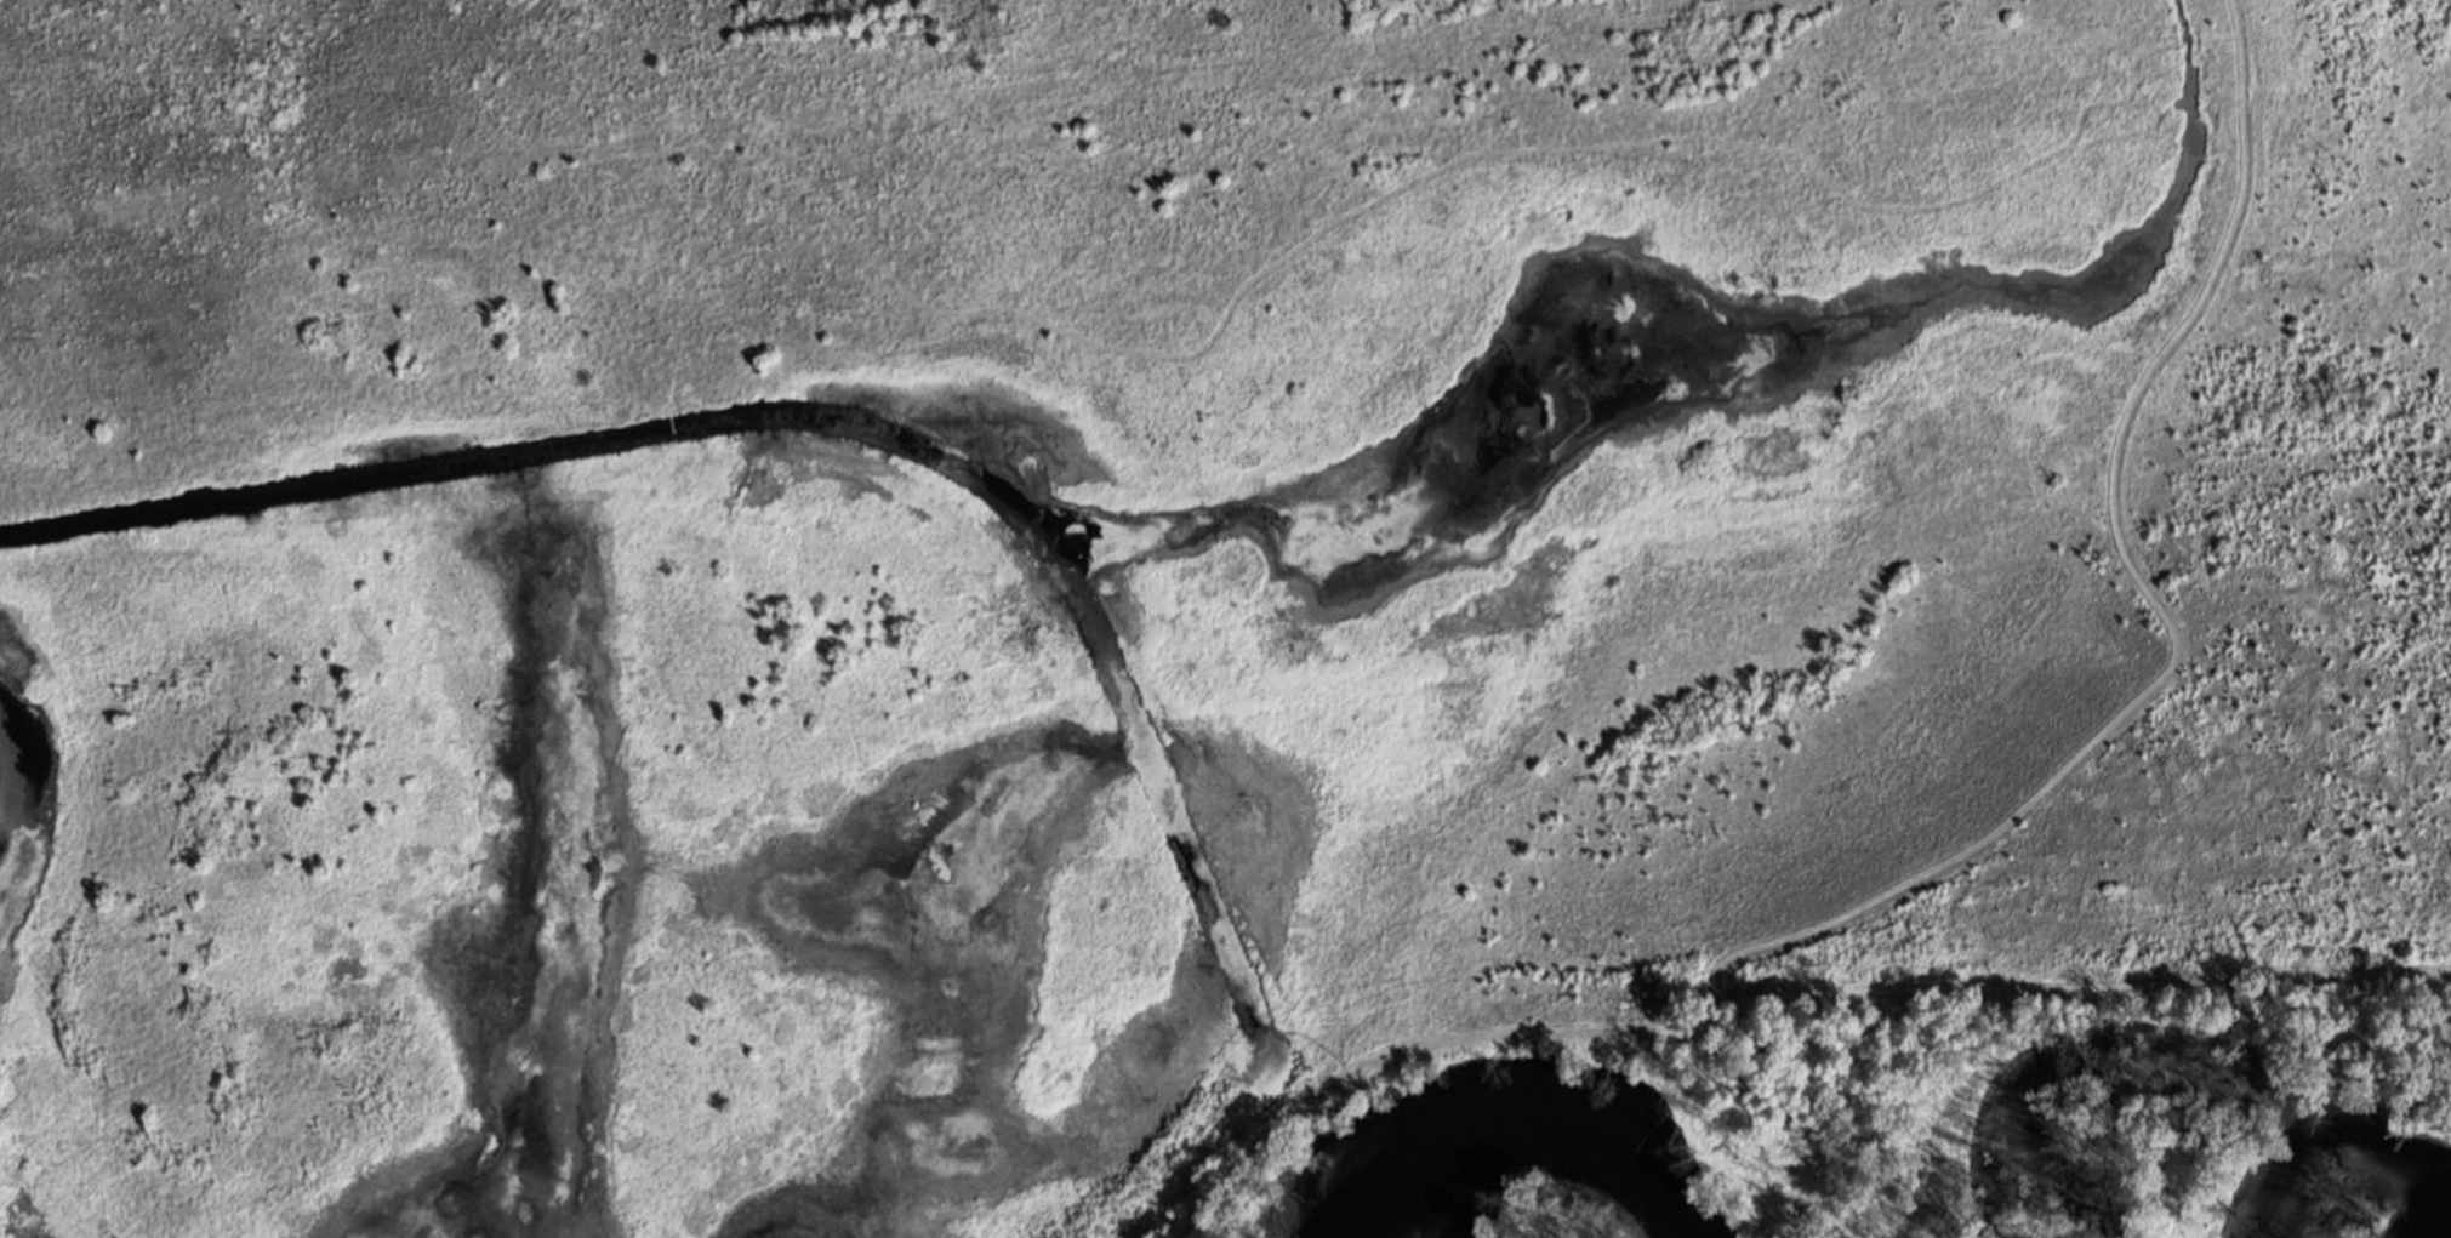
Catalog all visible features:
road: (1984, 834)
river: (1524, 1120)

